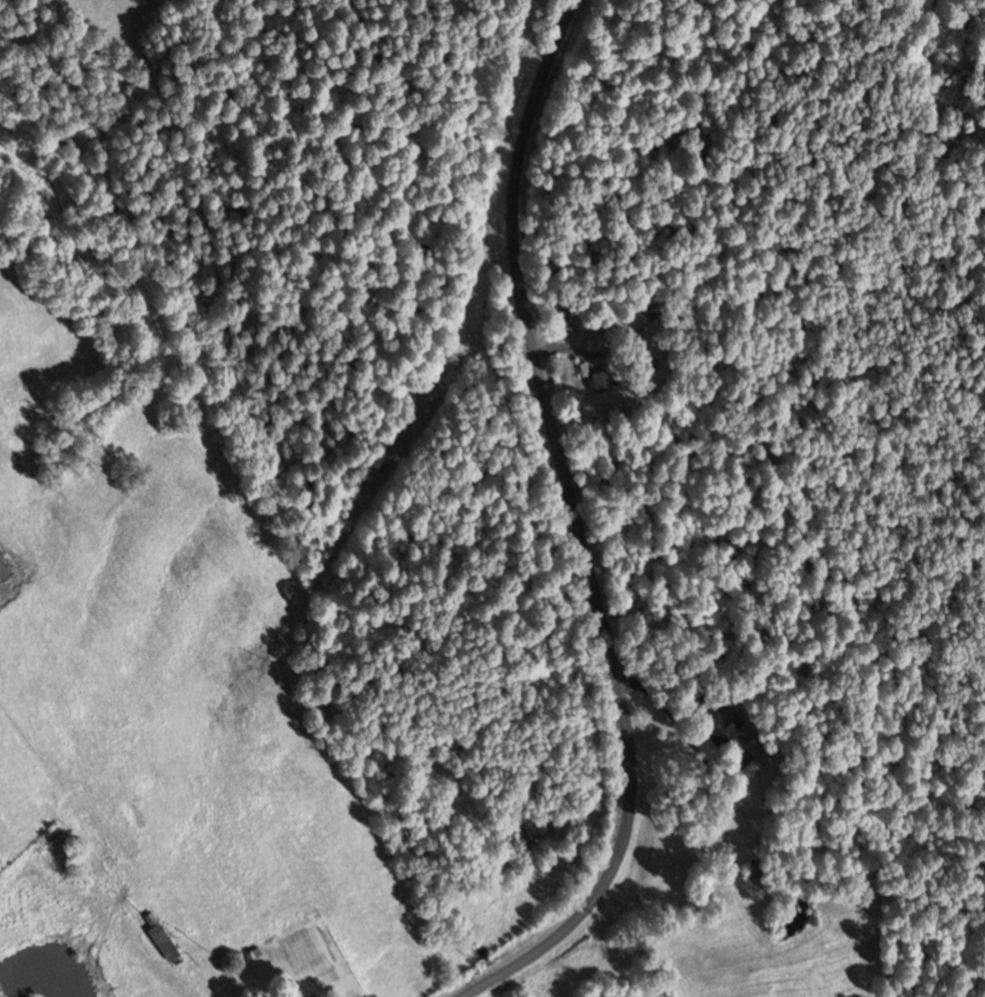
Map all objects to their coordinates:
road: (580, 530)
road: (620, 947)

